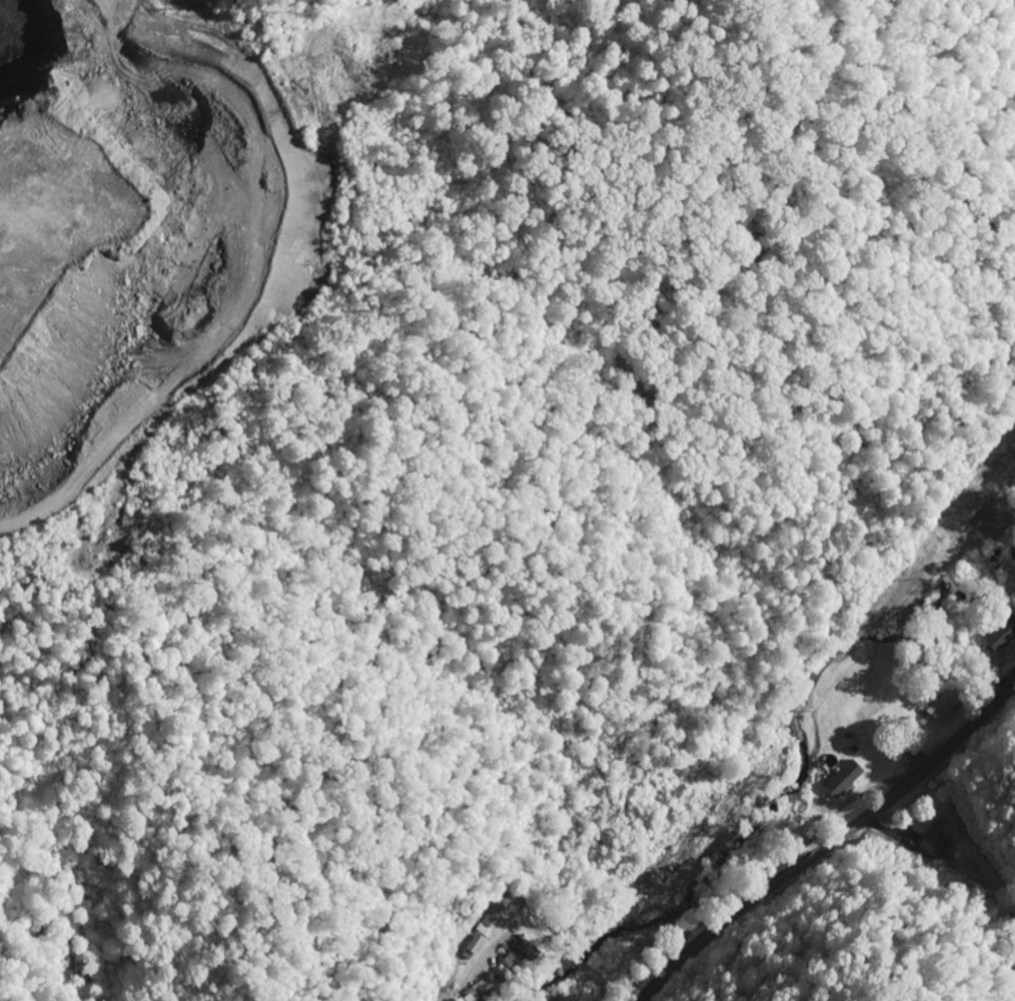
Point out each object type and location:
building: (1000, 636)
building: (945, 704)
building: (844, 780)
building: (936, 837)
road: (830, 844)
building: (492, 920)
building: (471, 948)
building: (492, 976)

